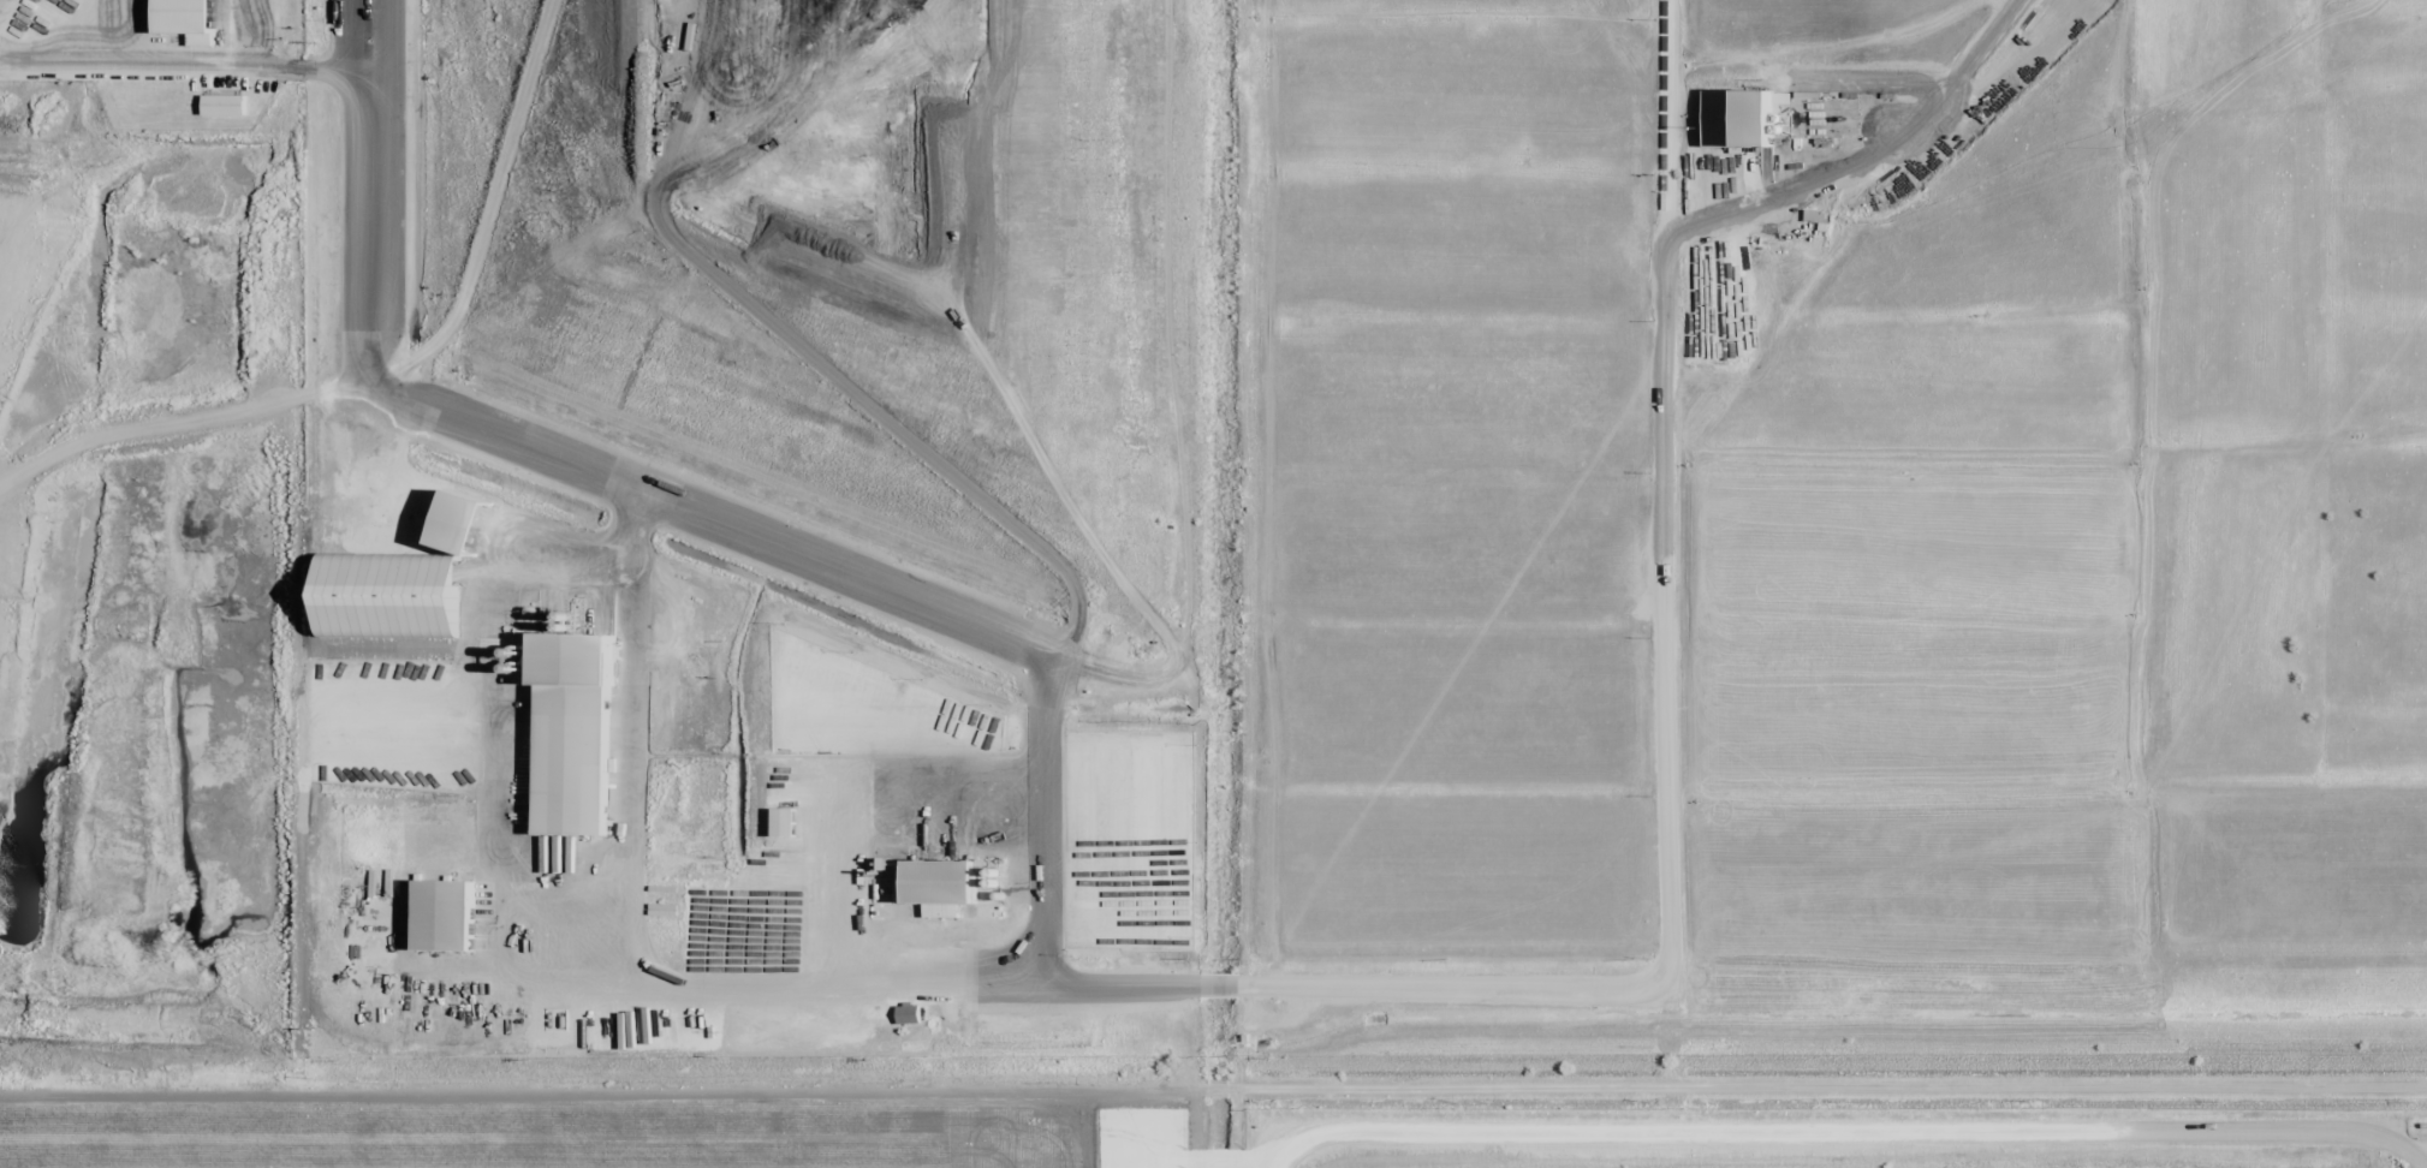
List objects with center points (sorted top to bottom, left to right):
building: (1742, 120)
building: (465, 522)
building: (576, 733)
building: (785, 822)
building: (942, 882)
building: (447, 916)
road: (1827, 1089)
road: (603, 1090)
road: (1218, 1090)

